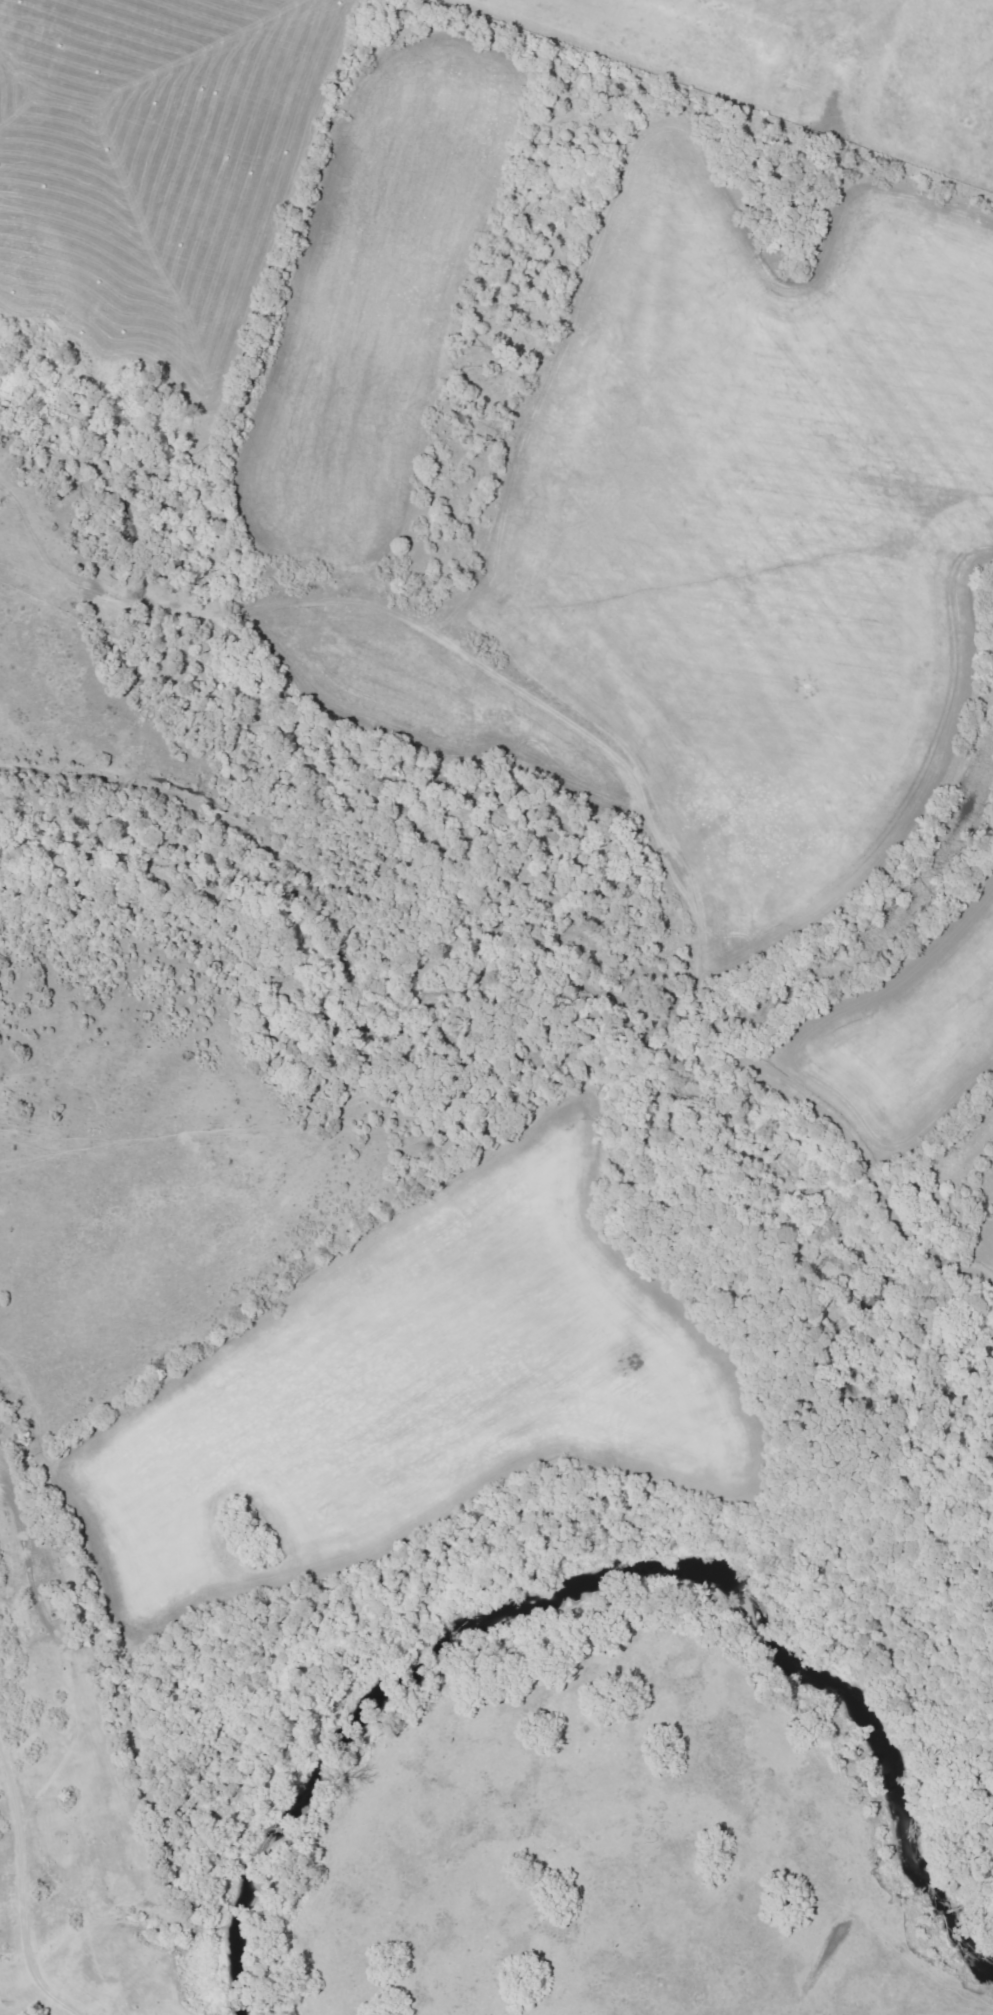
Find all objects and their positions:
river: (584, 1569)
road: (22, 1894)

